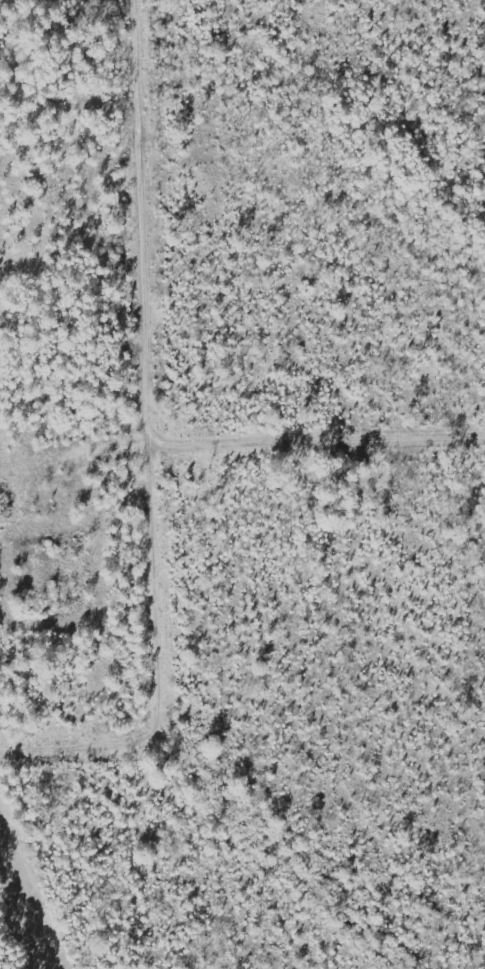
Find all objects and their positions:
road: (142, 224)
road: (322, 439)

